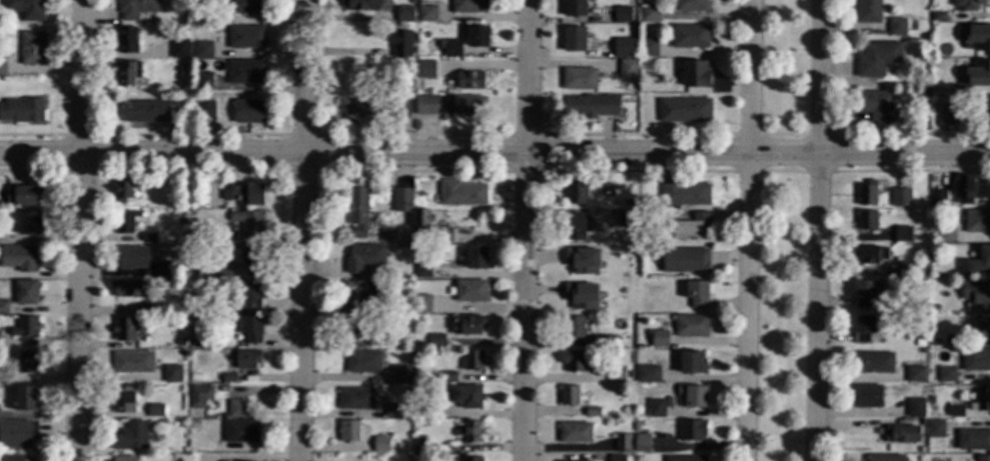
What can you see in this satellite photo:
building: (362, 4)
building: (966, 4)
building: (692, 5)
building: (249, 6)
building: (469, 6)
building: (136, 8)
building: (575, 8)
building: (24, 9)
building: (868, 11)
building: (405, 13)
building: (427, 13)
building: (622, 13)
building: (648, 14)
building: (207, 15)
building: (939, 16)
building: (896, 27)
building: (246, 36)
building: (478, 36)
building: (690, 36)
building: (979, 36)
building: (574, 39)
building: (128, 40)
building: (402, 43)
building: (631, 43)
building: (440, 44)
building: (32, 48)
building: (180, 48)
building: (453, 48)
building: (648, 48)
building: (202, 49)
building: (877, 58)
building: (2, 66)
building: (183, 66)
building: (628, 68)
building: (426, 69)
building: (246, 72)
building: (127, 73)
building: (697, 73)
building: (979, 73)
road: (528, 76)
road: (749, 76)
road: (820, 77)
building: (579, 78)
building: (203, 80)
building: (470, 80)
building: (398, 88)
building: (928, 93)
building: (875, 103)
building: (427, 104)
building: (467, 104)
building: (590, 105)
building: (401, 107)
building: (204, 109)
building: (359, 109)
building: (684, 109)
building: (22, 110)
building: (949, 110)
building: (986, 110)
building: (147, 111)
building: (249, 111)
road: (263, 153)
road: (637, 153)
road: (783, 154)
road: (904, 154)
building: (934, 178)
building: (965, 189)
building: (126, 190)
building: (584, 191)
building: (244, 193)
building: (462, 193)
building: (684, 193)
building: (868, 194)
building: (23, 195)
building: (901, 197)
building: (938, 197)
building: (402, 199)
building: (357, 210)
building: (626, 217)
building: (868, 219)
building: (126, 221)
building: (977, 221)
building: (422, 222)
building: (30, 223)
building: (248, 223)
building: (577, 226)
building: (690, 227)
road: (82, 230)
road: (304, 230)
building: (375, 233)
building: (388, 233)
building: (947, 233)
building: (444, 234)
building: (903, 234)
building: (148, 237)
building: (225, 237)
building: (935, 248)
building: (627, 250)
building: (871, 254)
building: (253, 255)
building: (20, 257)
building: (131, 257)
building: (364, 257)
building: (476, 257)
building: (621, 258)
building: (582, 259)
building: (683, 259)
building: (980, 262)
building: (221, 267)
building: (422, 268)
building: (903, 268)
building: (164, 269)
building: (127, 288)
building: (471, 290)
building: (619, 290)
building: (26, 291)
building: (867, 292)
building: (363, 293)
building: (697, 293)
building: (977, 293)
building: (581, 295)
building: (250, 296)
building: (3, 303)
building: (422, 303)
building: (921, 306)
road: (525, 307)
road: (746, 307)
building: (933, 307)
building: (146, 308)
building: (405, 308)
road: (817, 308)
building: (640, 318)
building: (467, 325)
building: (691, 325)
building: (26, 326)
building: (574, 326)
building: (983, 326)
building: (864, 328)
building: (125, 329)
building: (252, 329)
building: (355, 330)
building: (611, 338)
building: (660, 338)
building: (437, 340)
building: (597, 340)
building: (196, 342)
building: (920, 342)
building: (934, 342)
building: (923, 351)
building: (248, 358)
building: (473, 360)
building: (574, 360)
building: (977, 360)
building: (28, 361)
building: (134, 361)
building: (364, 362)
building: (873, 362)
building: (693, 363)
building: (172, 373)
building: (399, 373)
building: (648, 373)
building: (617, 374)
building: (629, 374)
building: (916, 374)
building: (947, 374)
building: (194, 376)
road: (978, 376)
building: (450, 377)
building: (230, 378)
building: (569, 395)
building: (200, 396)
building: (468, 396)
building: (692, 396)
building: (867, 396)
building: (26, 398)
building: (356, 398)
building: (930, 398)
building: (123, 399)
building: (982, 399)
building: (236, 407)
building: (429, 407)
building: (657, 407)
building: (916, 407)
building: (156, 409)
building: (393, 409)
building: (625, 410)
building: (957, 410)
building: (593, 411)
building: (900, 421)
building: (182, 422)
building: (923, 423)
building: (193, 424)
building: (637, 426)
building: (936, 428)
building: (349, 430)
building: (693, 430)
building: (241, 431)
building: (470, 431)
building: (18, 432)
building: (575, 432)
building: (903, 434)
building: (132, 436)
building: (974, 440)
building: (623, 442)
building: (381, 443)
building: (643, 443)
building: (922, 451)
building: (617, 457)
building: (887, 457)
building: (17, 458)
building: (125, 458)
building: (645, 458)
building: (685, 458)
building: (921, 458)
building: (983, 458)
building: (472, 459)
building: (587, 460)

